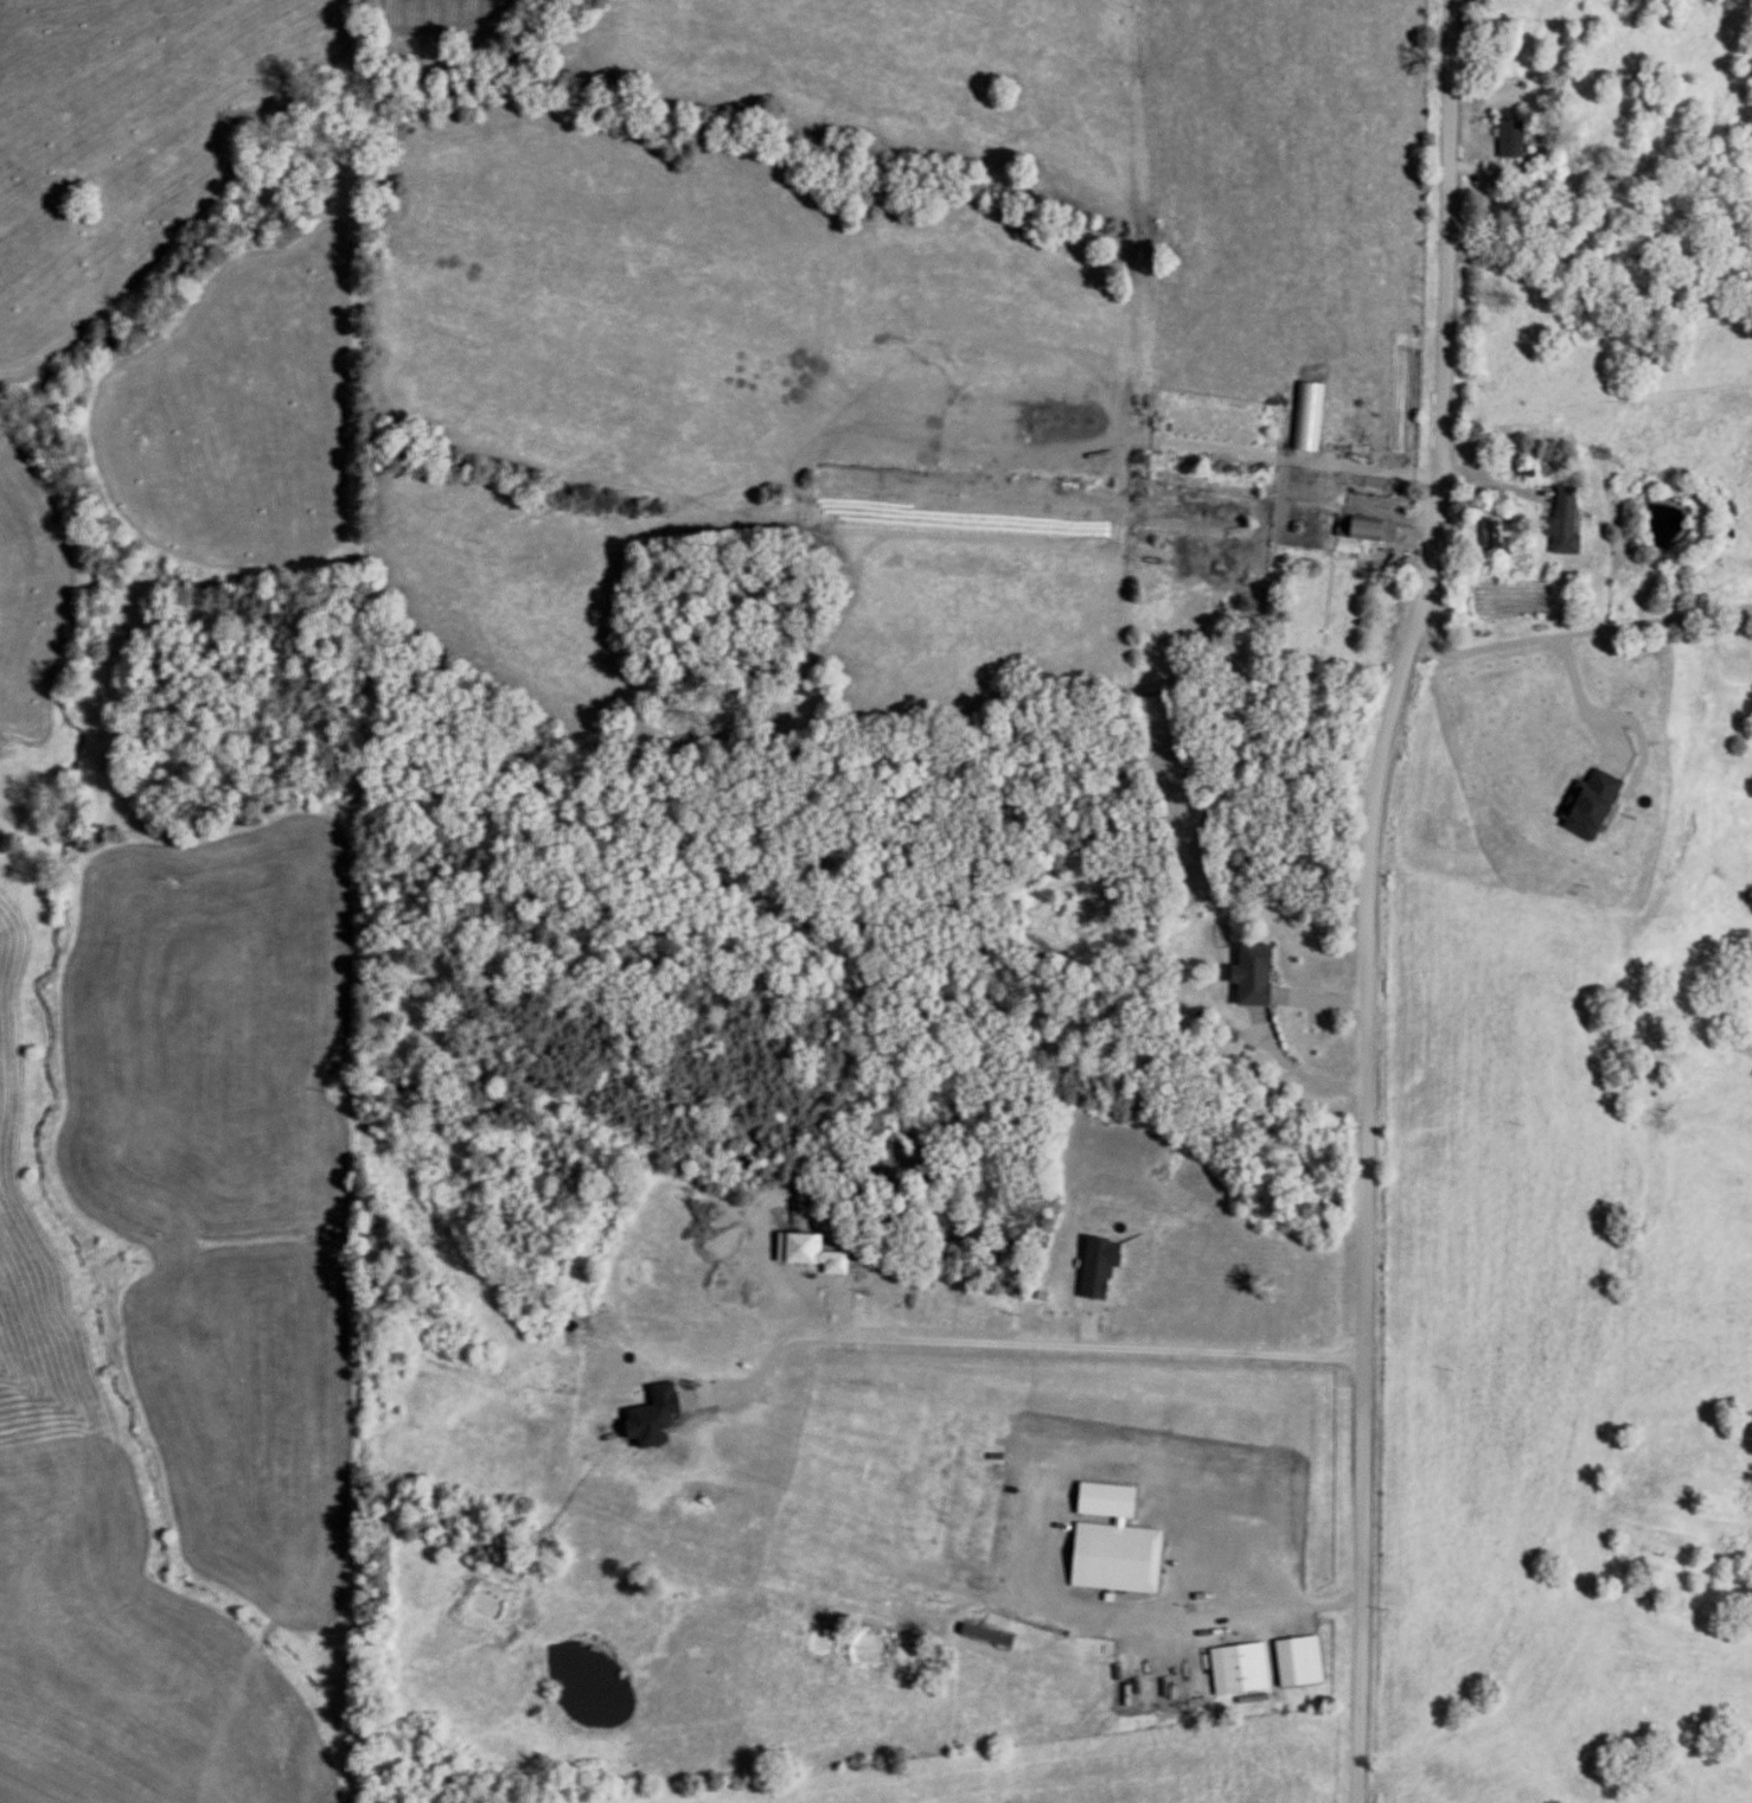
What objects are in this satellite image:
building: (1507, 139)
building: (1559, 520)
building: (1369, 528)
road: (1579, 629)
road: (1363, 896)
building: (1260, 974)
road: (1087, 1347)
building: (1120, 1558)
building: (1277, 1665)

